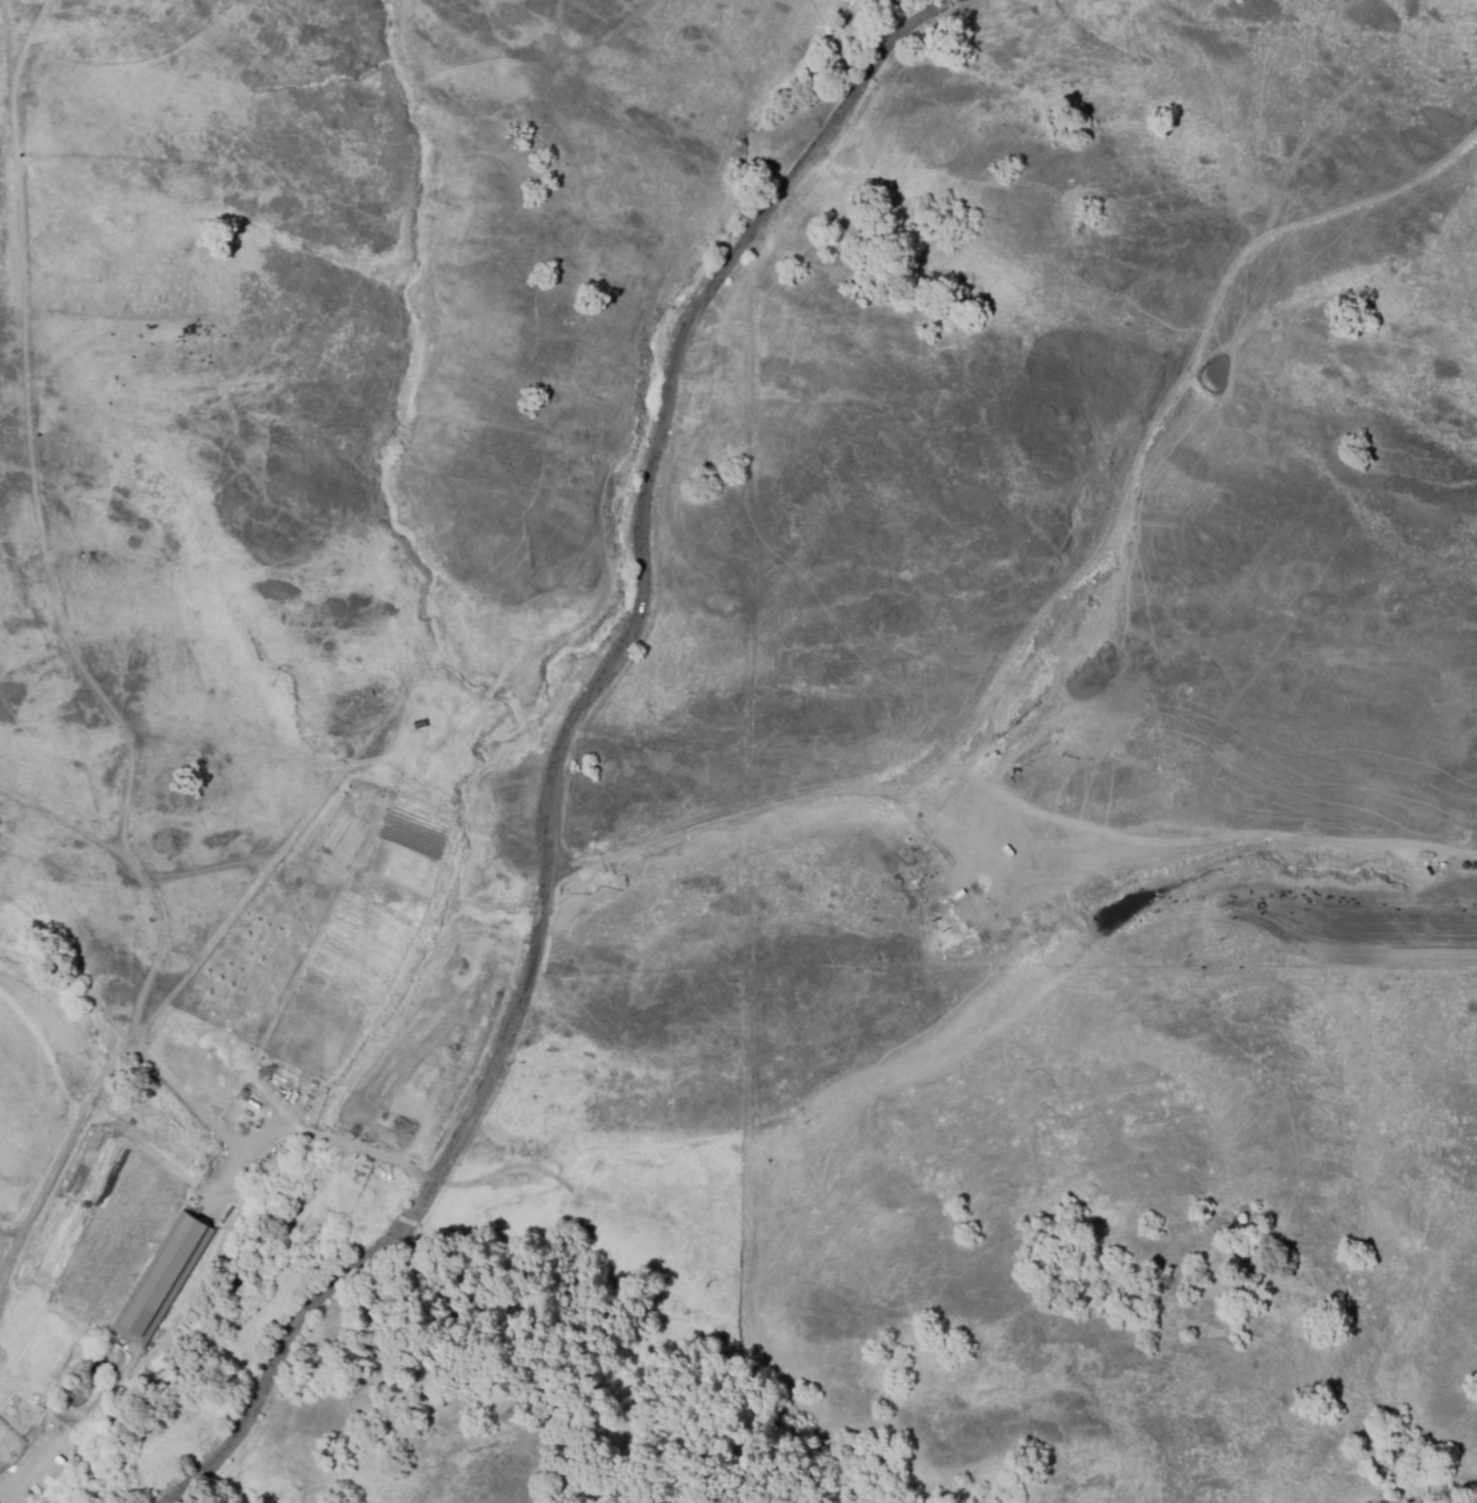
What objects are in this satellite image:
road: (1070, 578)
road: (563, 755)
road: (1009, 879)
building: (917, 892)
building: (951, 904)
road: (311, 1132)
building: (160, 1277)

